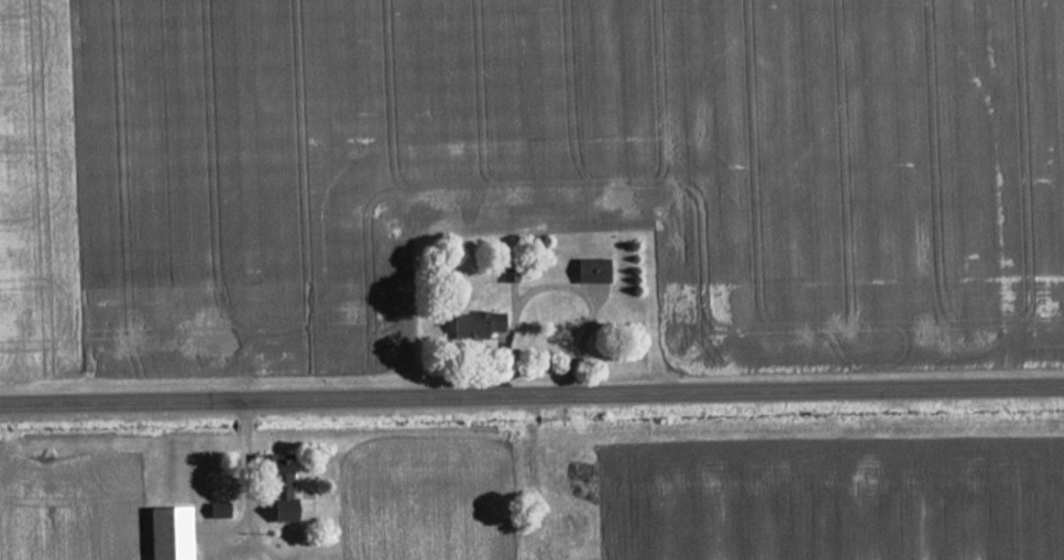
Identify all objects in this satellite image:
crop: (531, 172)
building: (586, 271)
building: (472, 328)
road: (531, 402)
building: (268, 469)
crop: (831, 498)
crop: (432, 499)
crop: (70, 502)
building: (164, 534)

